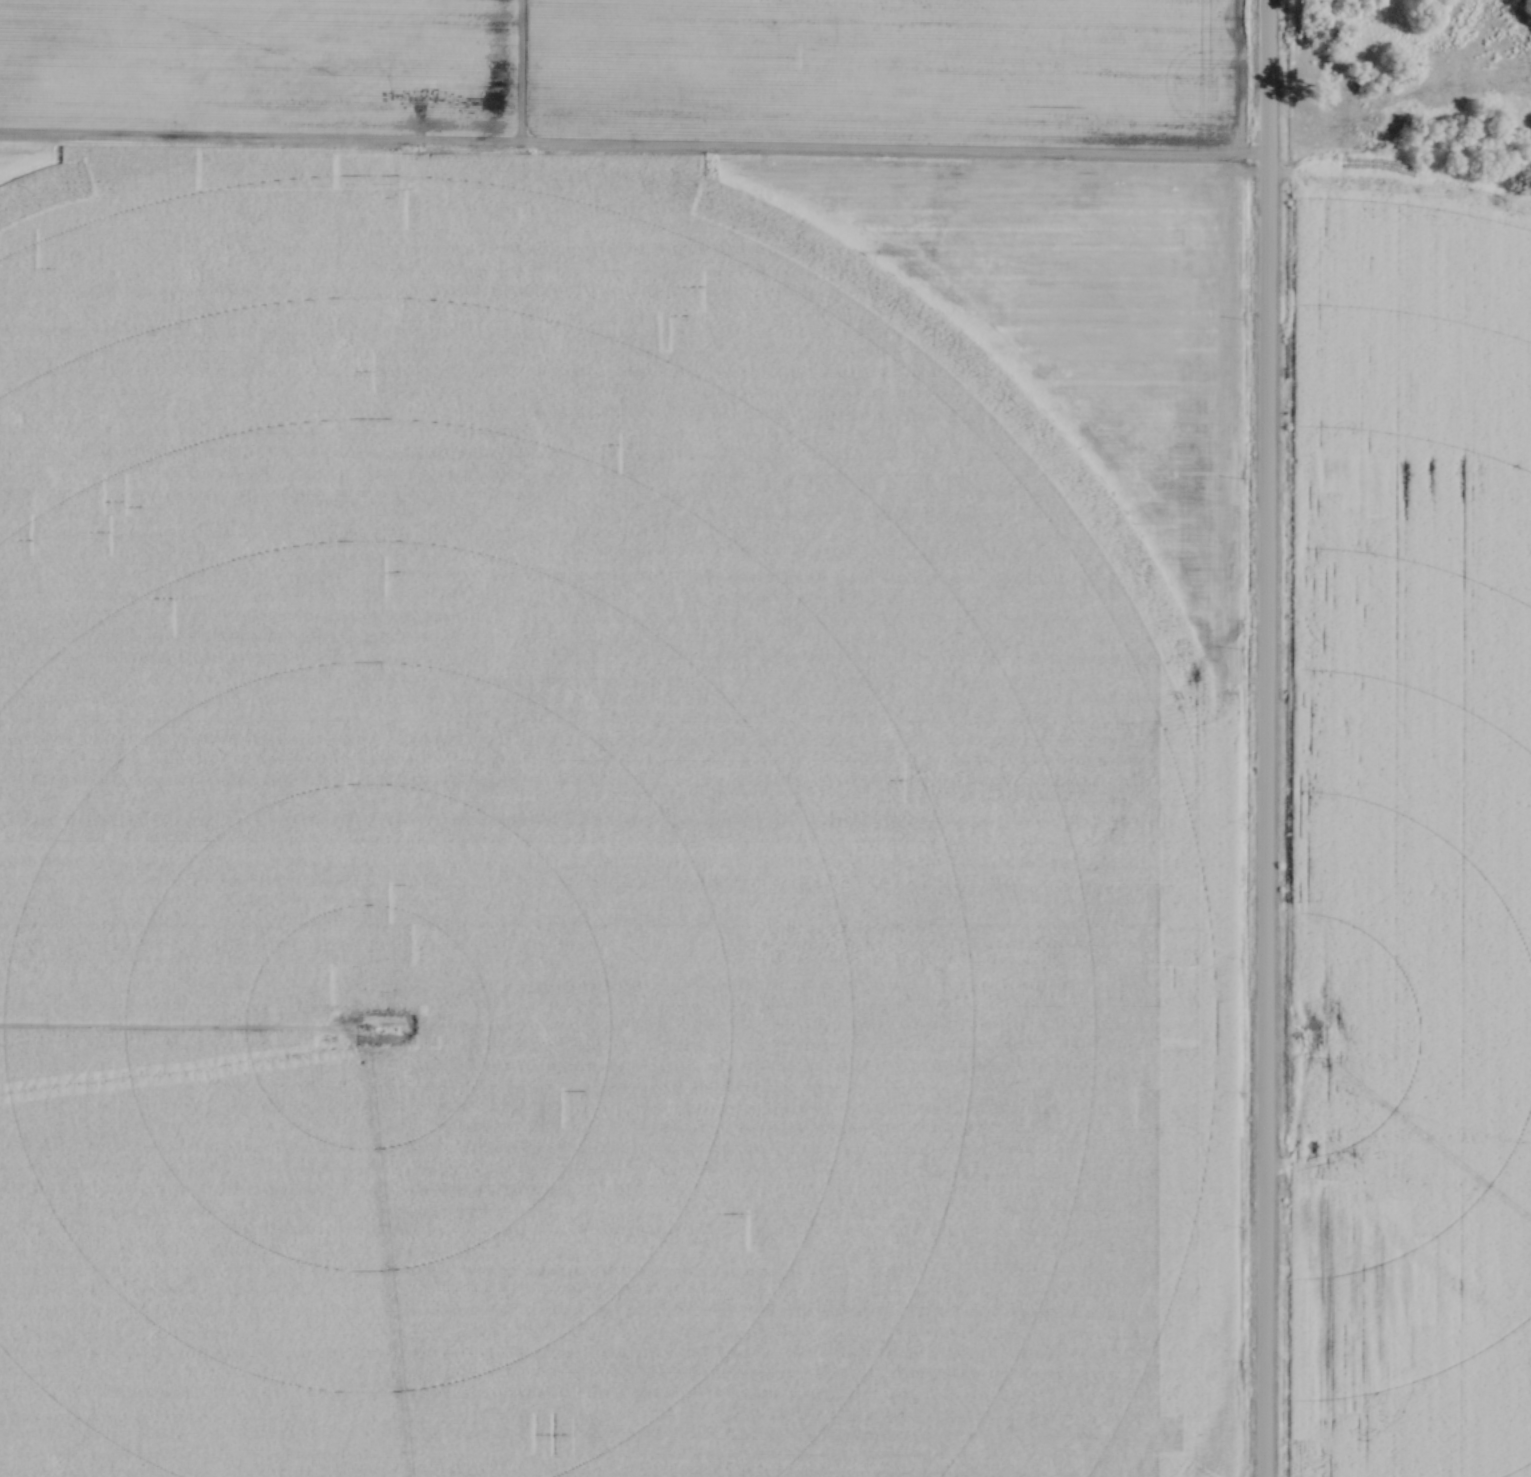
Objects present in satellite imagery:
road: (1264, 738)

